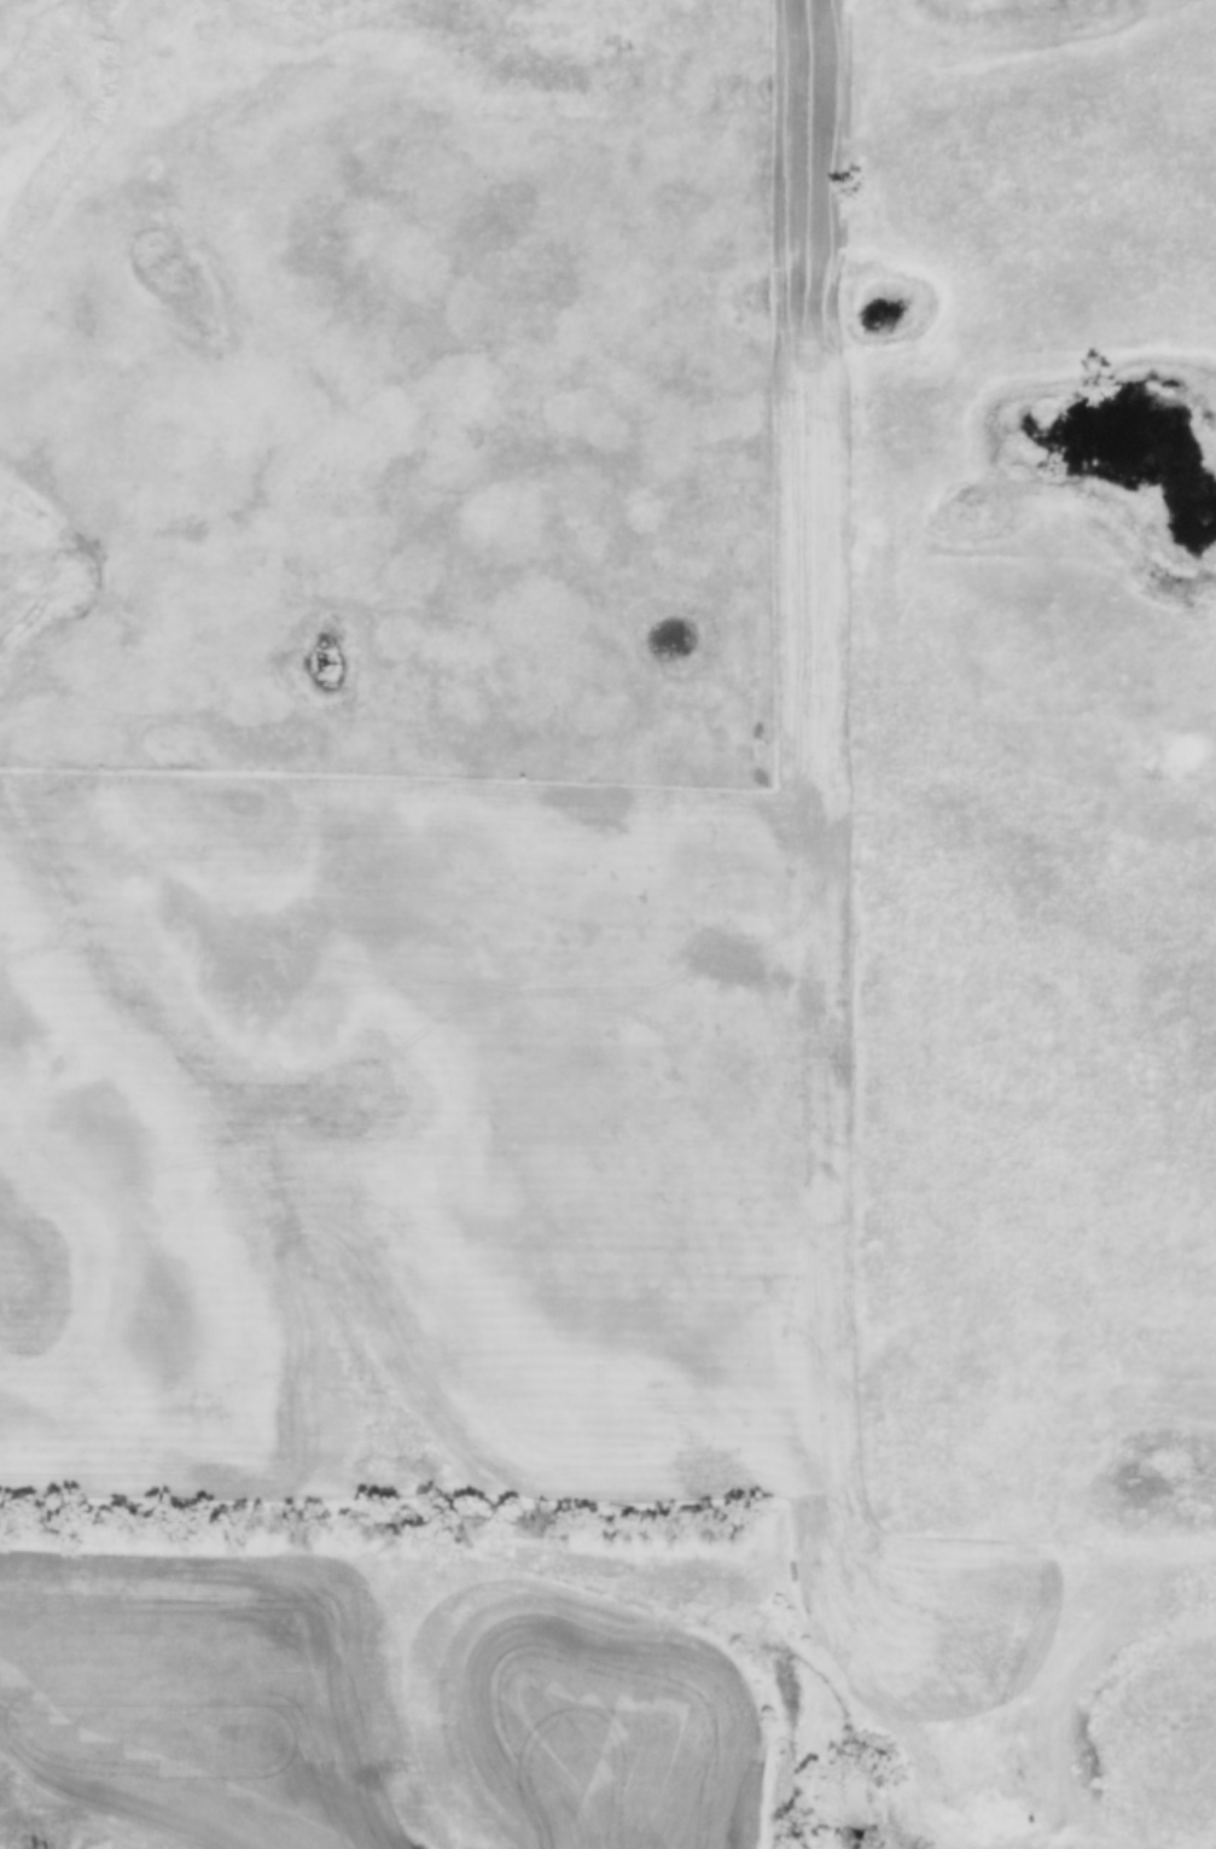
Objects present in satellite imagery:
road: (856, 1814)

